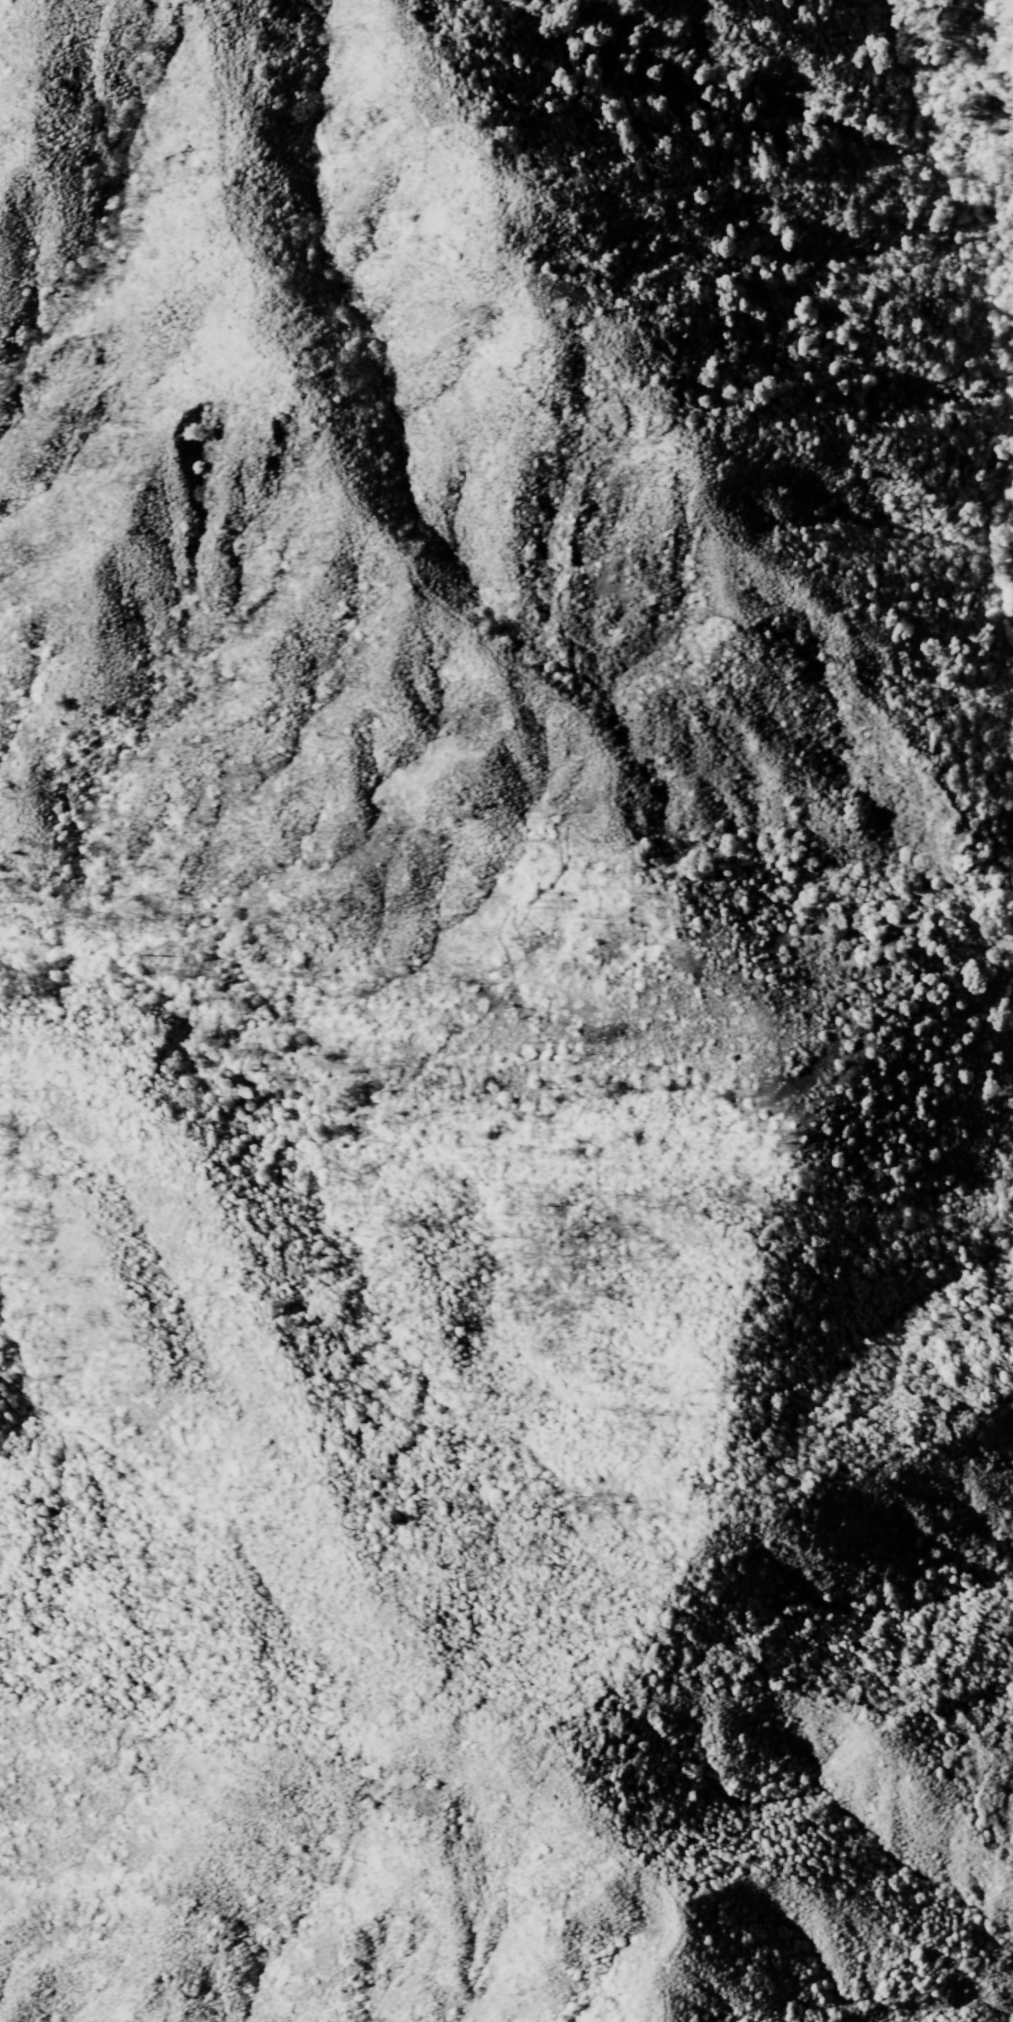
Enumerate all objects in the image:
road: (984, 128)
road: (426, 748)
road: (1012, 986)

